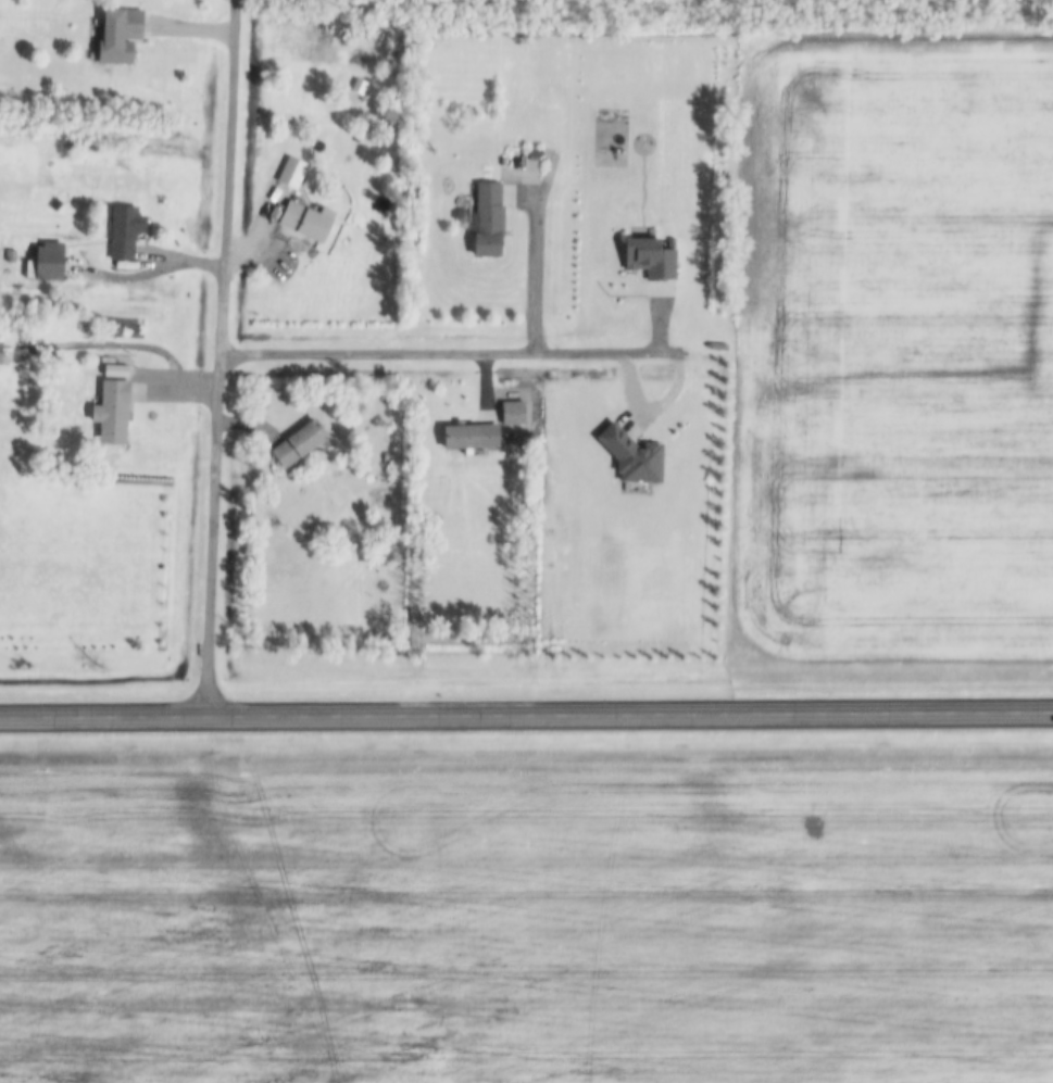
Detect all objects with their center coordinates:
building: (117, 36)
building: (385, 39)
building: (290, 169)
building: (486, 217)
building: (304, 218)
building: (123, 229)
building: (648, 255)
building: (47, 259)
road: (152, 269)
road: (532, 270)
crop: (891, 344)
building: (0, 352)
road: (442, 352)
road: (216, 356)
building: (111, 407)
building: (511, 410)
building: (467, 433)
building: (297, 442)
building: (631, 454)
building: (385, 456)
road: (526, 713)
crop: (527, 924)

